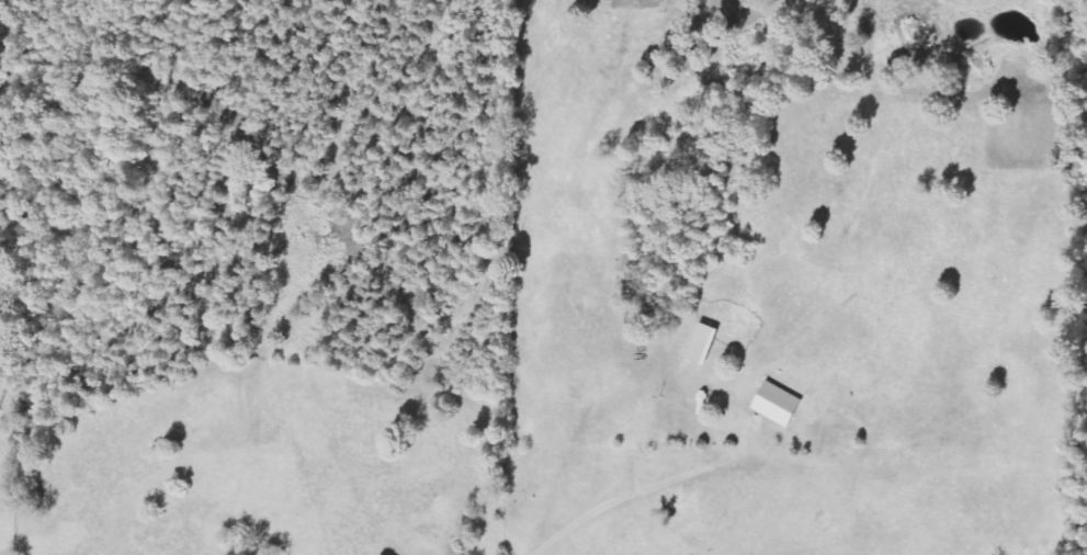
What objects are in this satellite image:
building: (704, 344)
building: (779, 405)

